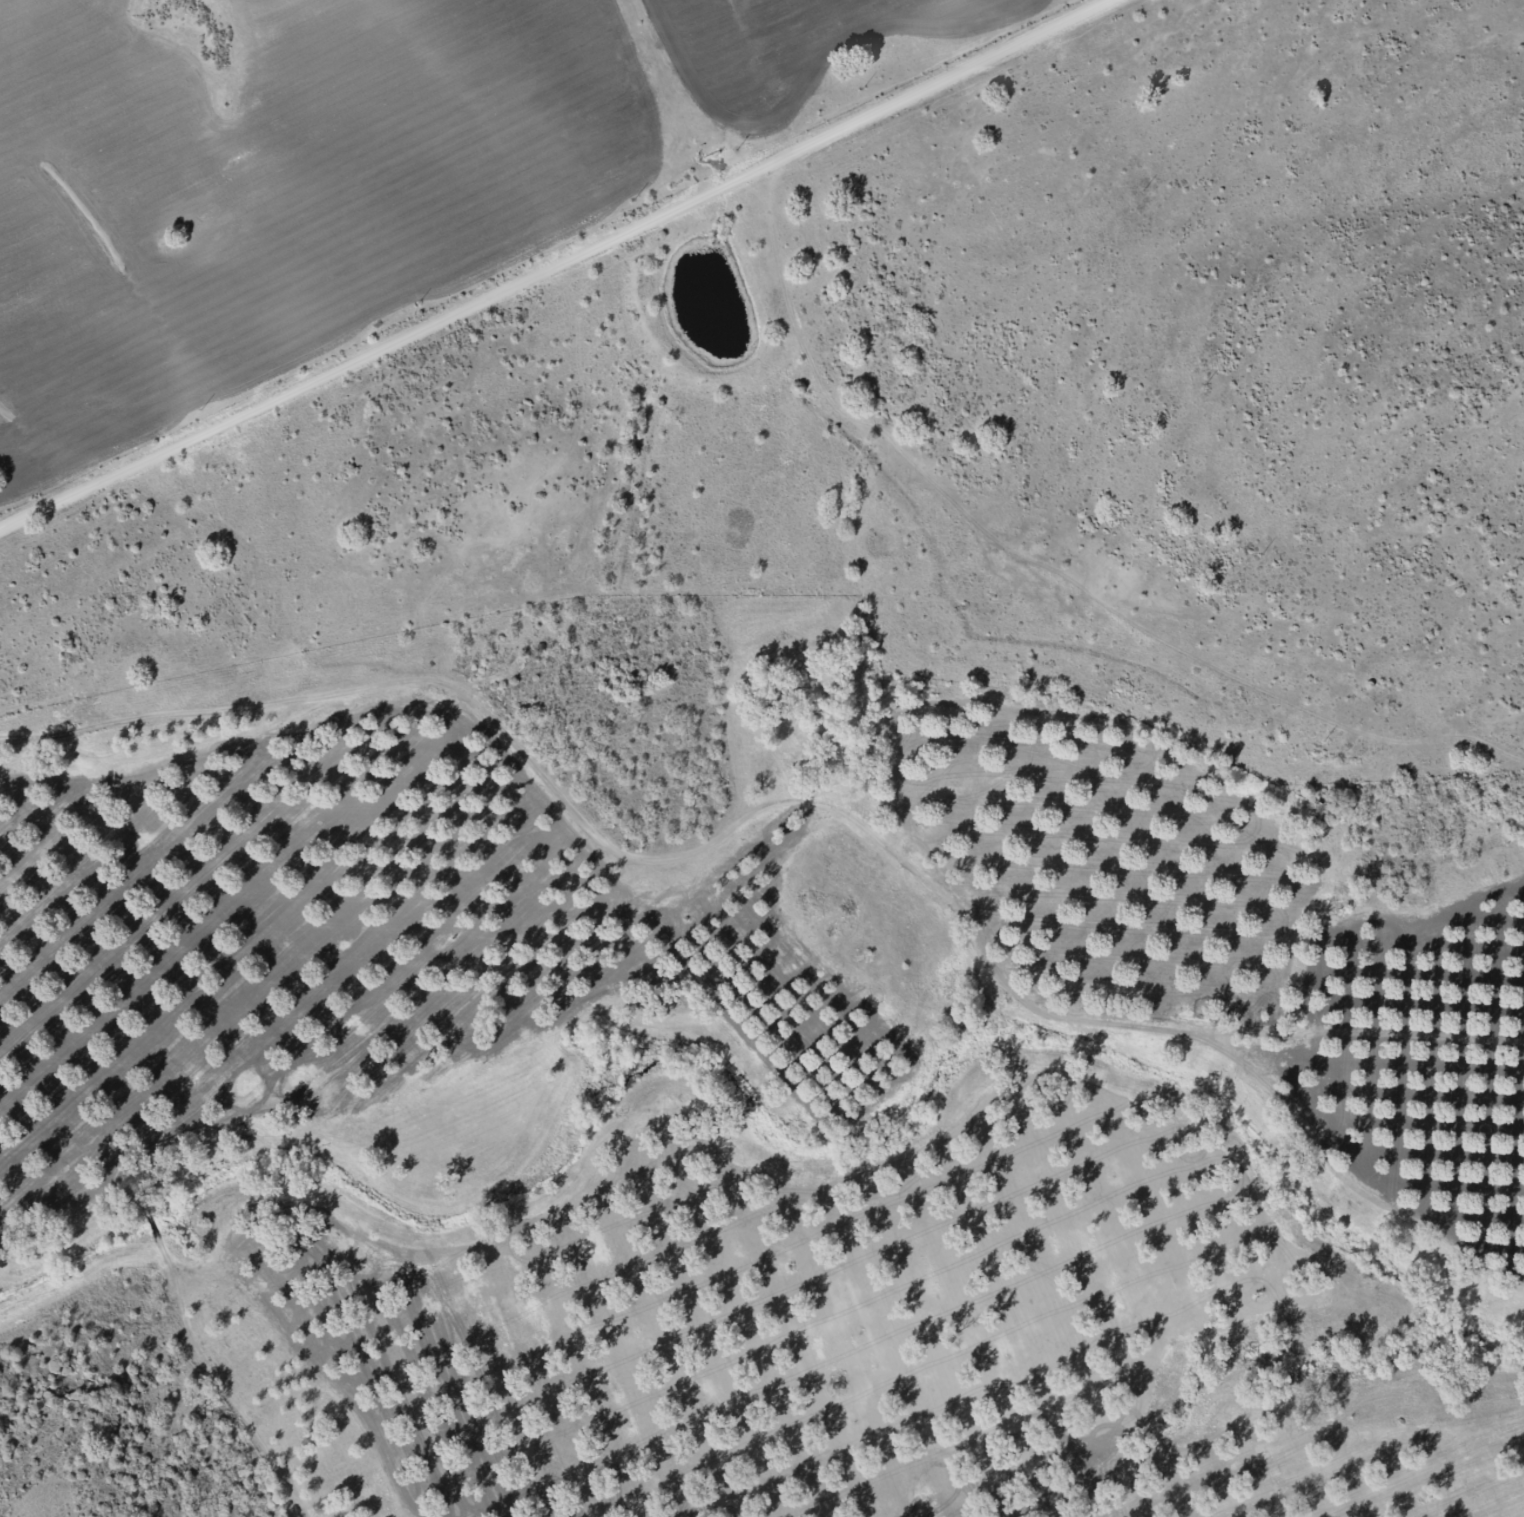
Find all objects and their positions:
road: (552, 266)

